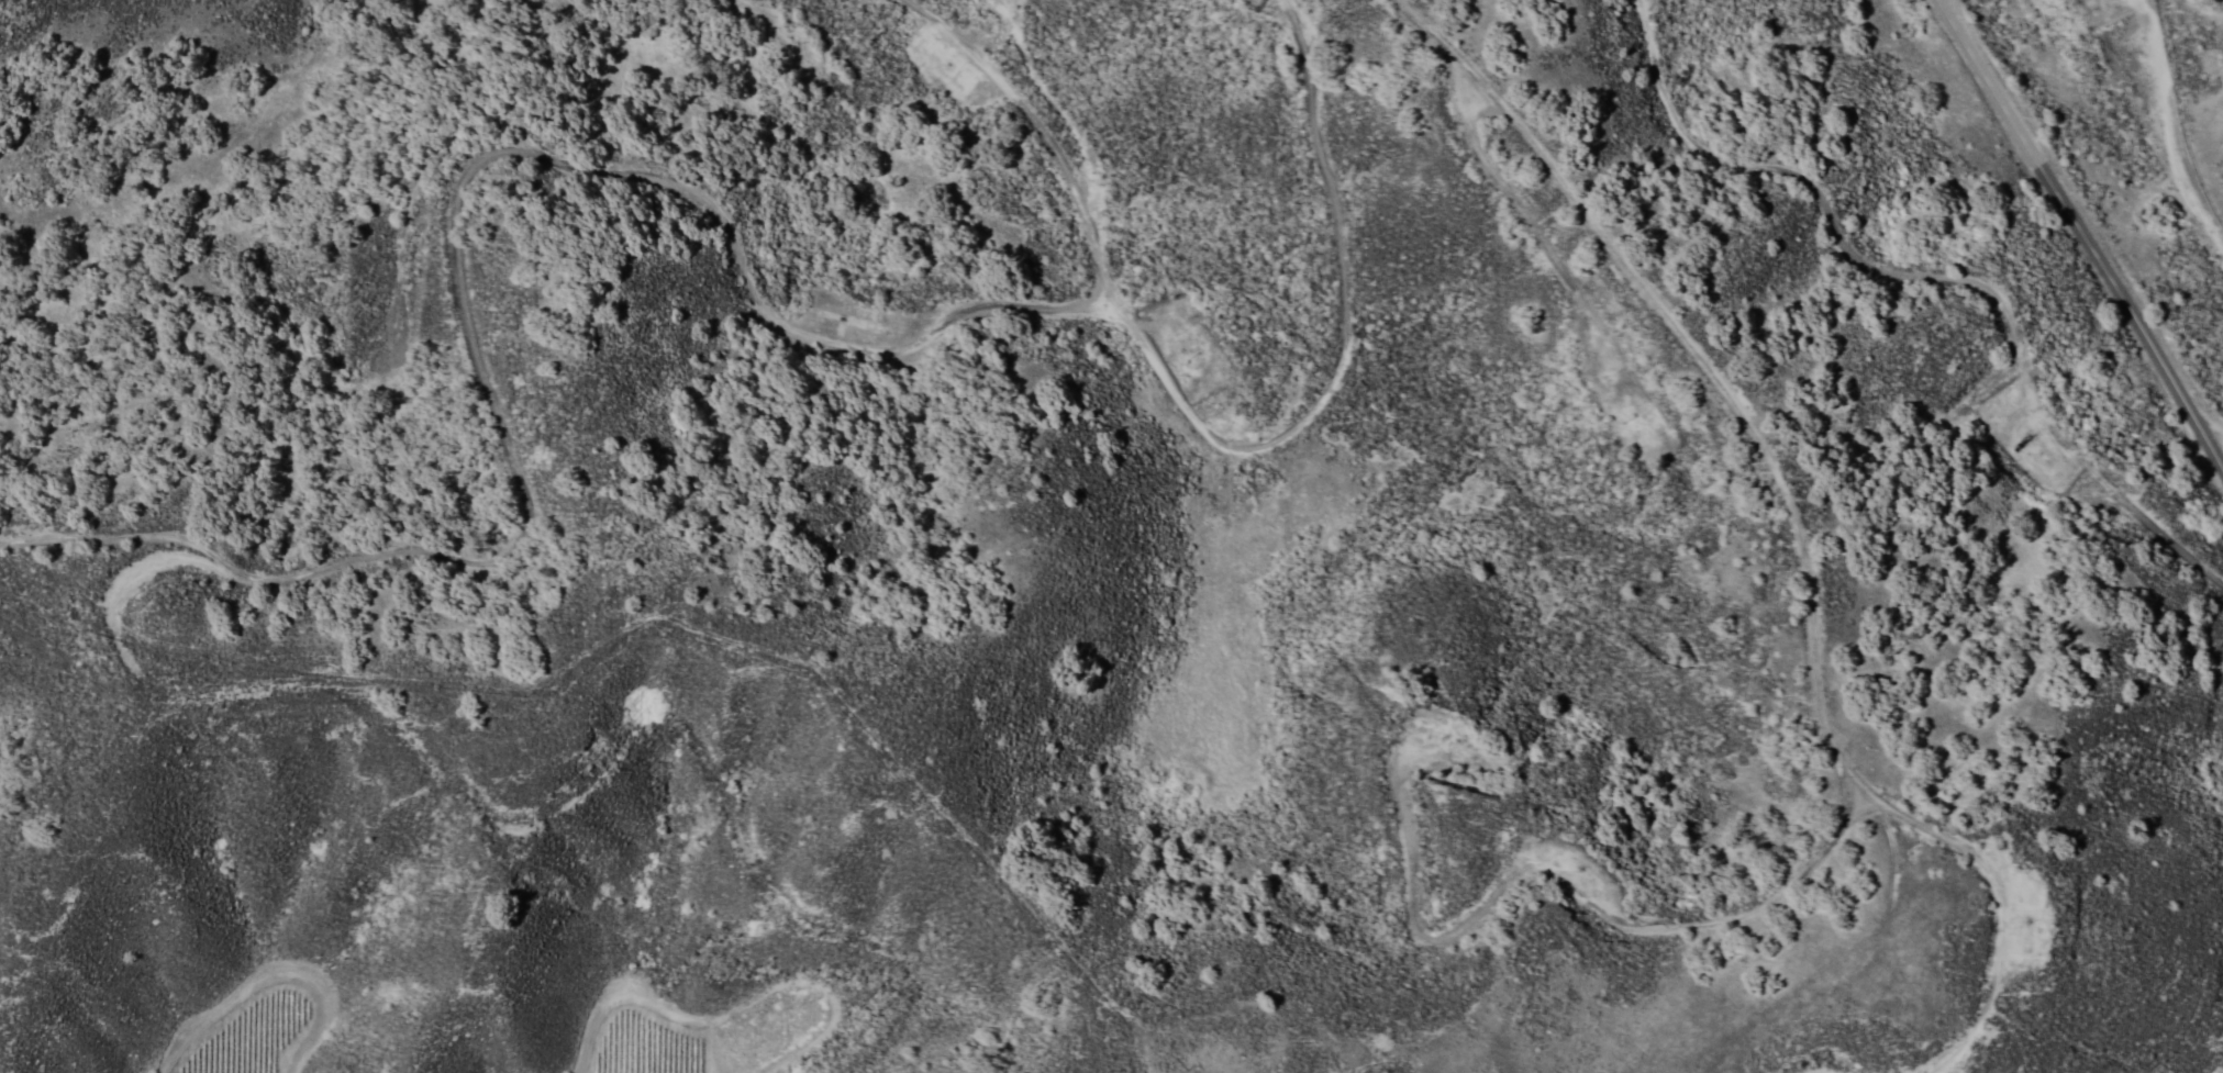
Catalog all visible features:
road: (2174, 121)
road: (1044, 138)
road: (1511, 211)
road: (713, 225)
road: (2082, 236)
road: (1923, 276)
road: (2215, 443)
road: (1826, 730)
road: (553, 826)
road: (1991, 883)

